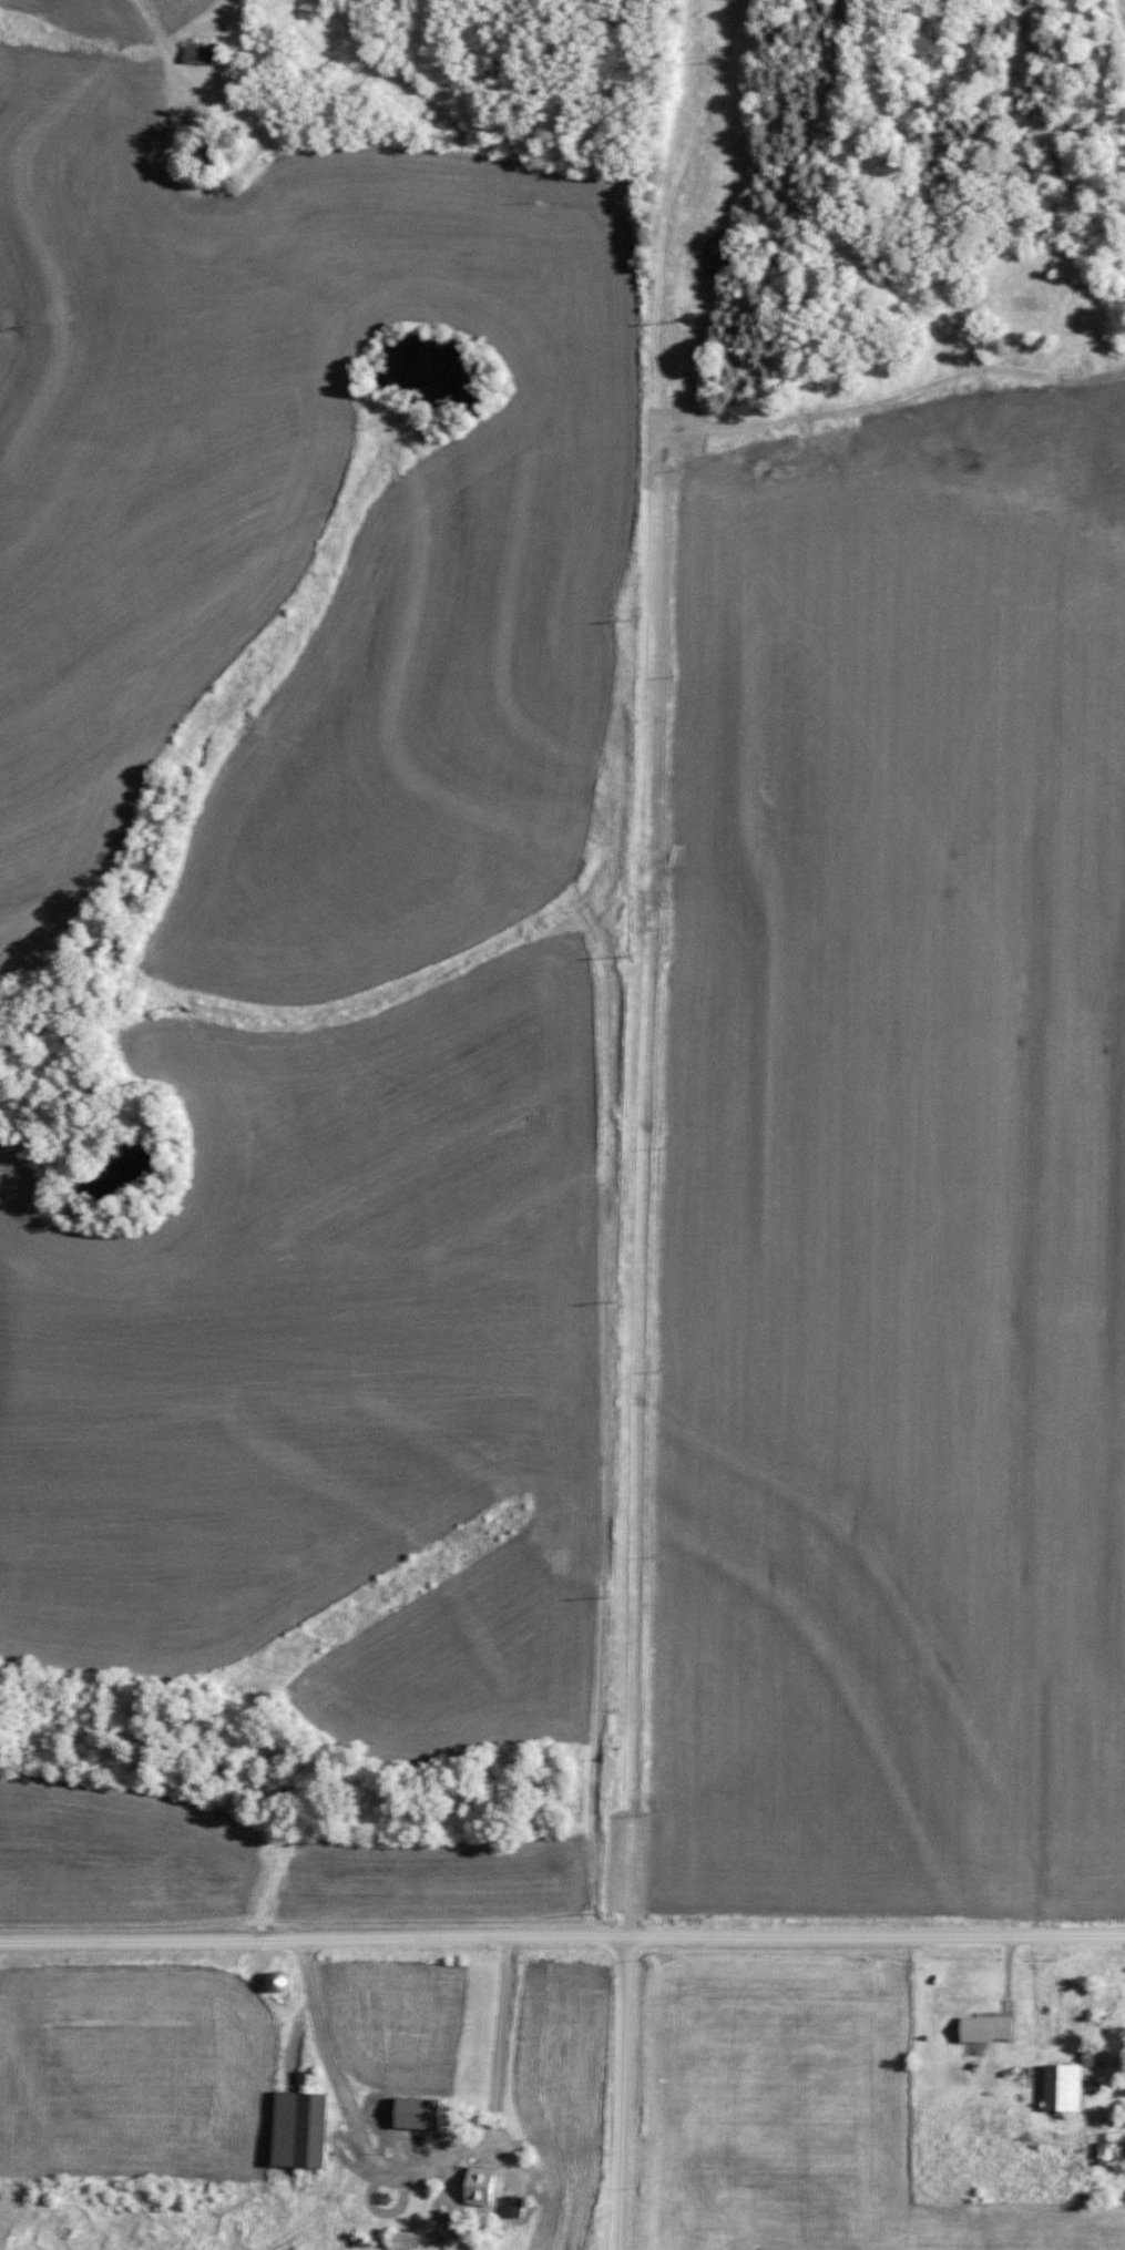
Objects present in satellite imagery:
road: (562, 1935)
building: (277, 1981)
road: (505, 2027)
building: (985, 2027)
road: (624, 2092)
building: (418, 2111)
building: (310, 2129)
building: (480, 2185)
building: (405, 2239)

